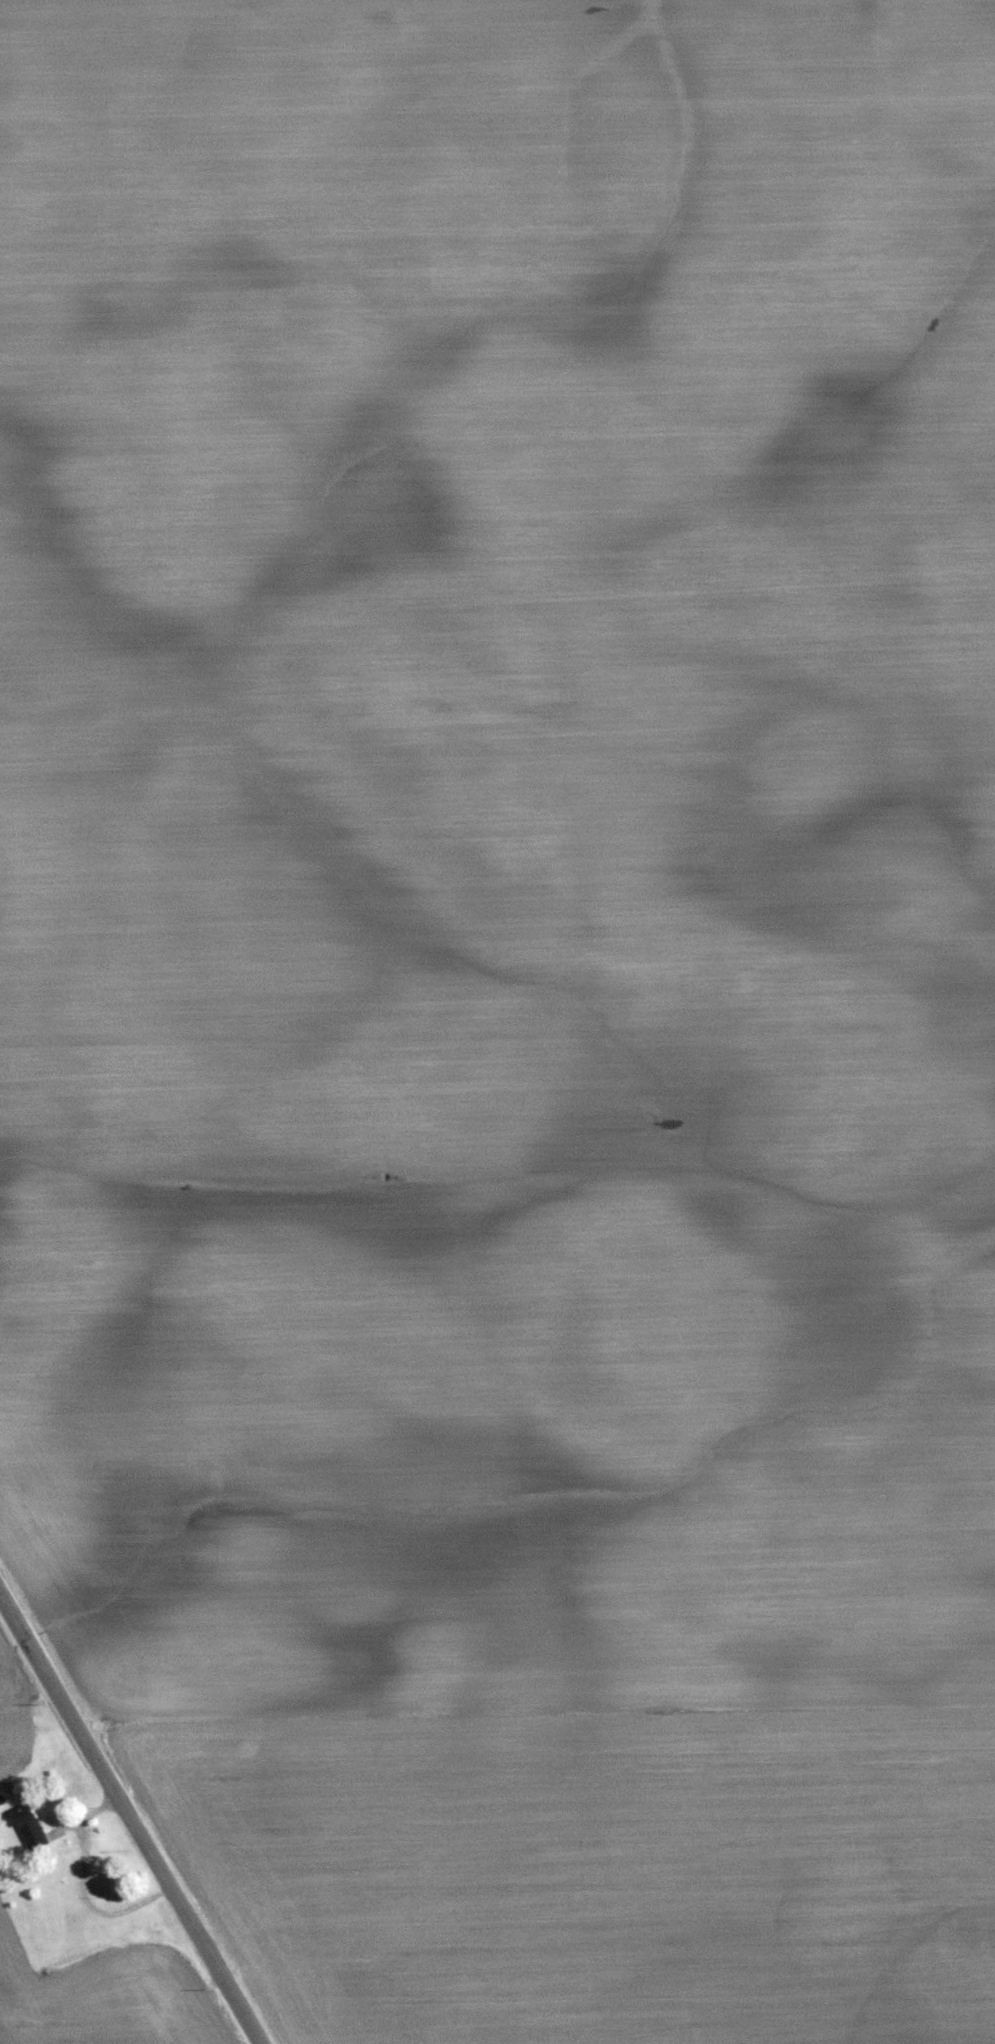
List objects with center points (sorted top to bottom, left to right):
road: (128, 1821)
building: (34, 1828)

